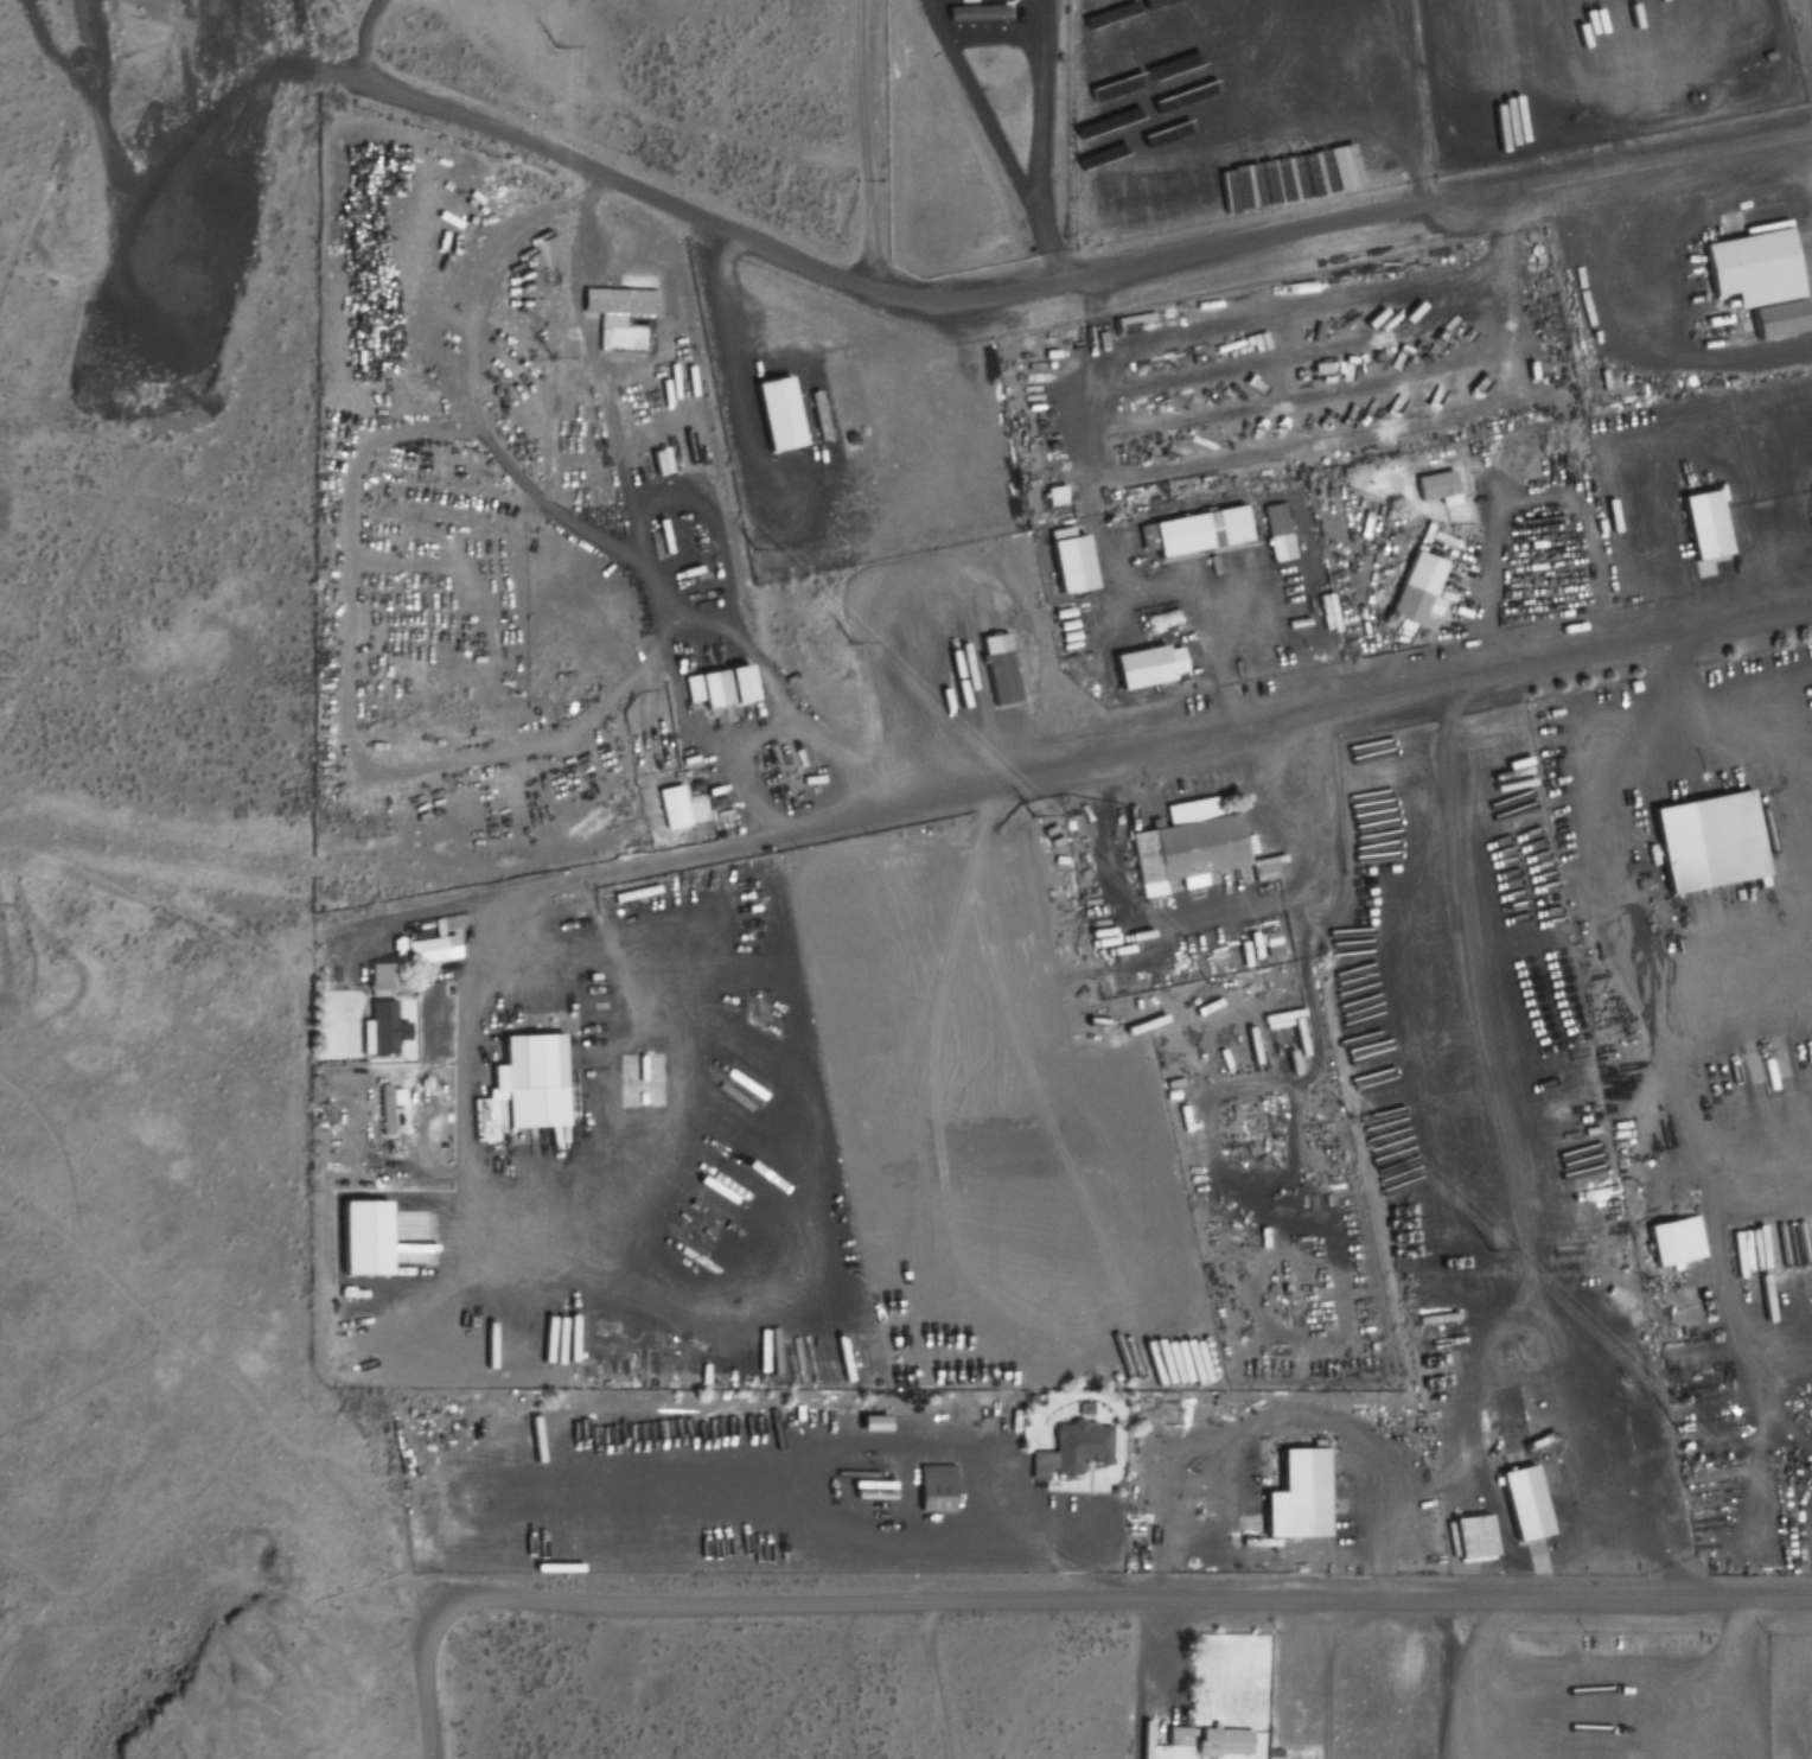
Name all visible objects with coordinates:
road: (351, 34)
road: (1048, 147)
road: (683, 212)
road: (1429, 216)
building: (1753, 278)
building: (615, 305)
building: (776, 414)
building: (1435, 489)
building: (1811, 491)
building: (1194, 533)
building: (1276, 533)
building: (1702, 533)
building: (1067, 562)
building: (1415, 588)
building: (1144, 665)
building: (996, 668)
building: (715, 686)
road: (1059, 772)
building: (671, 807)
building: (1705, 842)
building: (1183, 846)
building: (1269, 944)
building: (377, 1009)
building: (568, 1031)
building: (528, 1064)
building: (365, 1204)
building: (1664, 1242)
building: (610, 1358)
building: (471, 1364)
building: (1078, 1448)
building: (1291, 1493)
building: (1521, 1503)
road: (1122, 1604)
road: (428, 1681)
road: (937, 1681)
road: (1440, 1681)
road: (1737, 1681)
building: (1176, 1738)
building: (1220, 1744)

